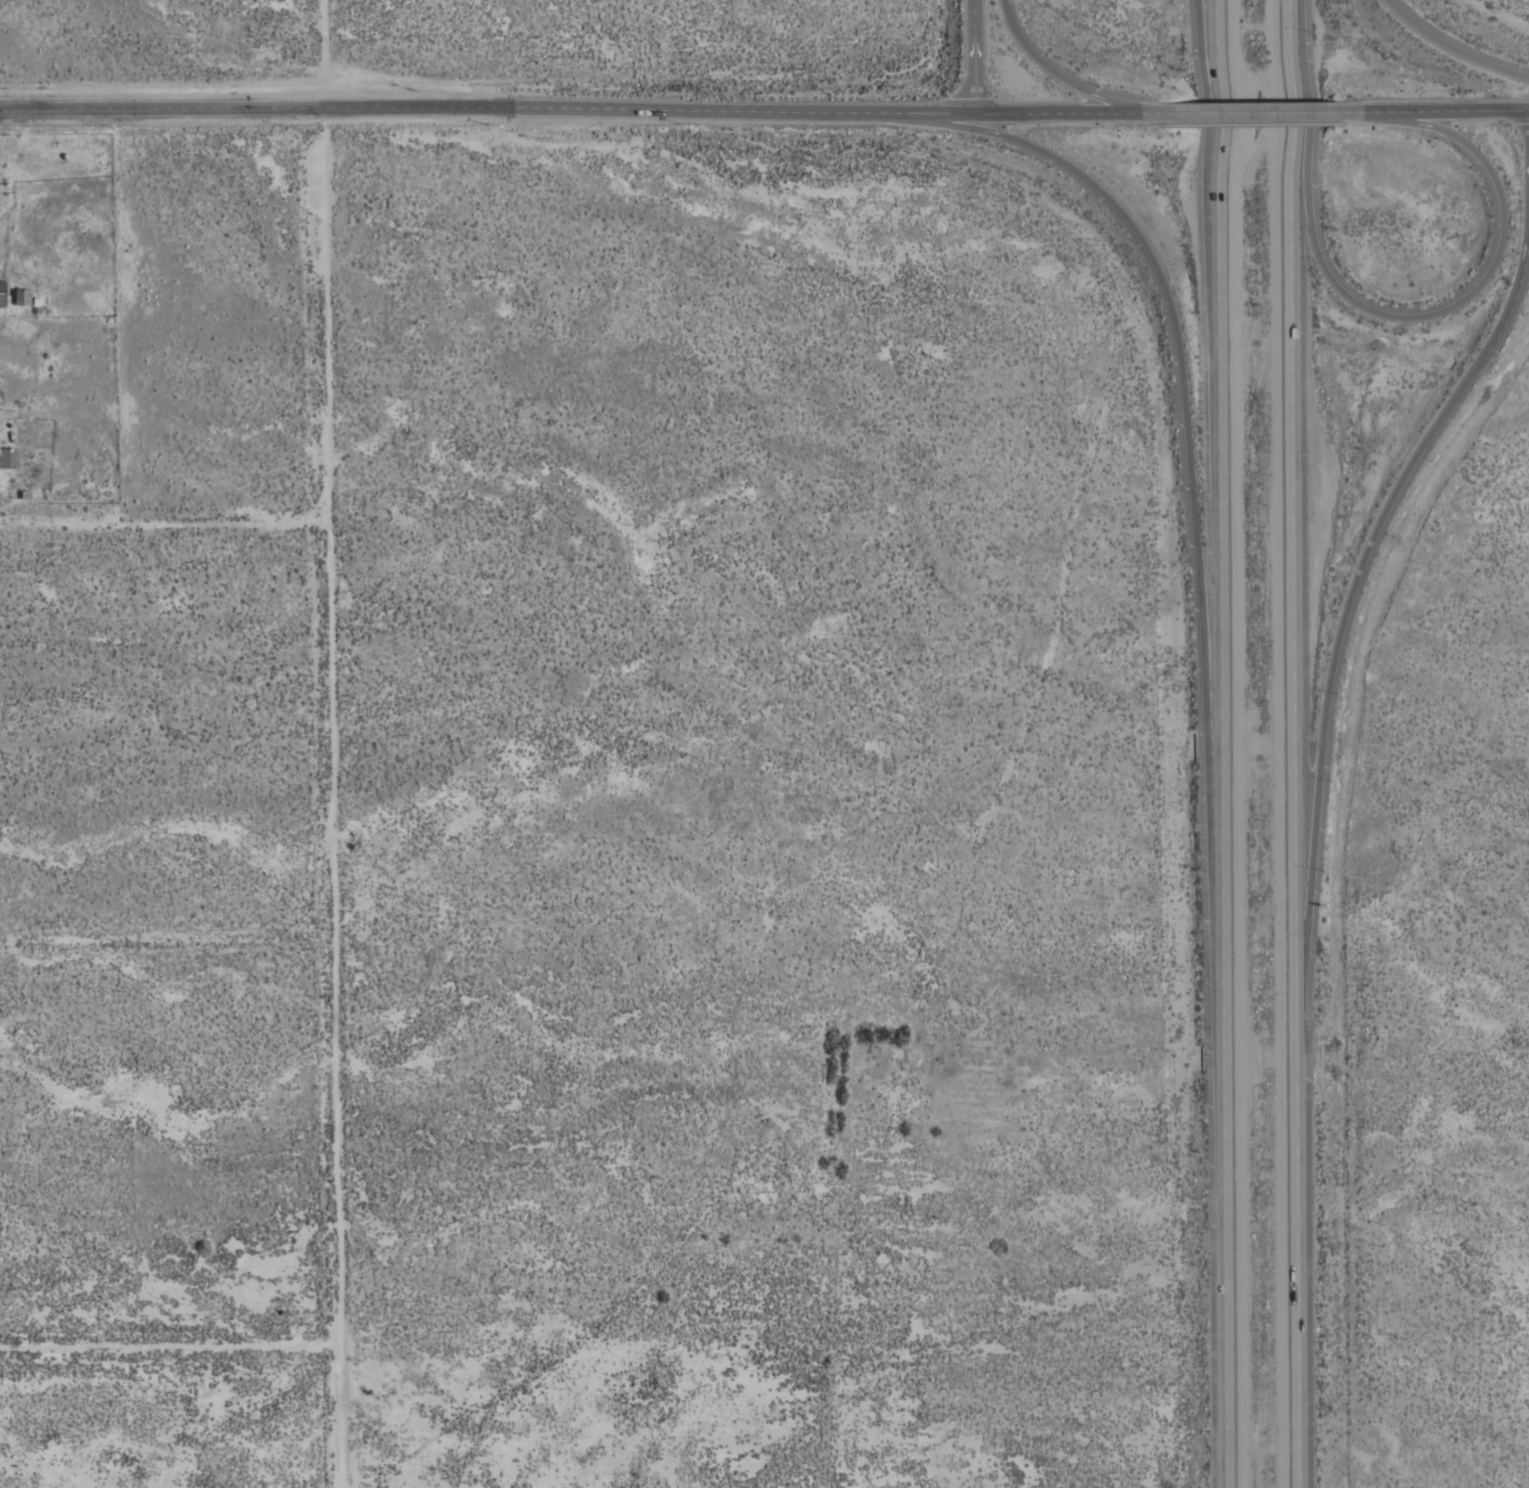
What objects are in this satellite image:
road: (1449, 51)
road: (972, 54)
road: (1048, 70)
road: (584, 108)
road: (1427, 108)
road: (1248, 111)
road: (1202, 118)
building: (1, 293)
building: (24, 297)
road: (1396, 316)
road: (1179, 398)
building: (7, 458)
road: (1299, 490)
road: (164, 522)
road: (1376, 530)
road: (330, 744)
road: (1214, 744)
road: (1302, 1234)
road: (169, 1347)

